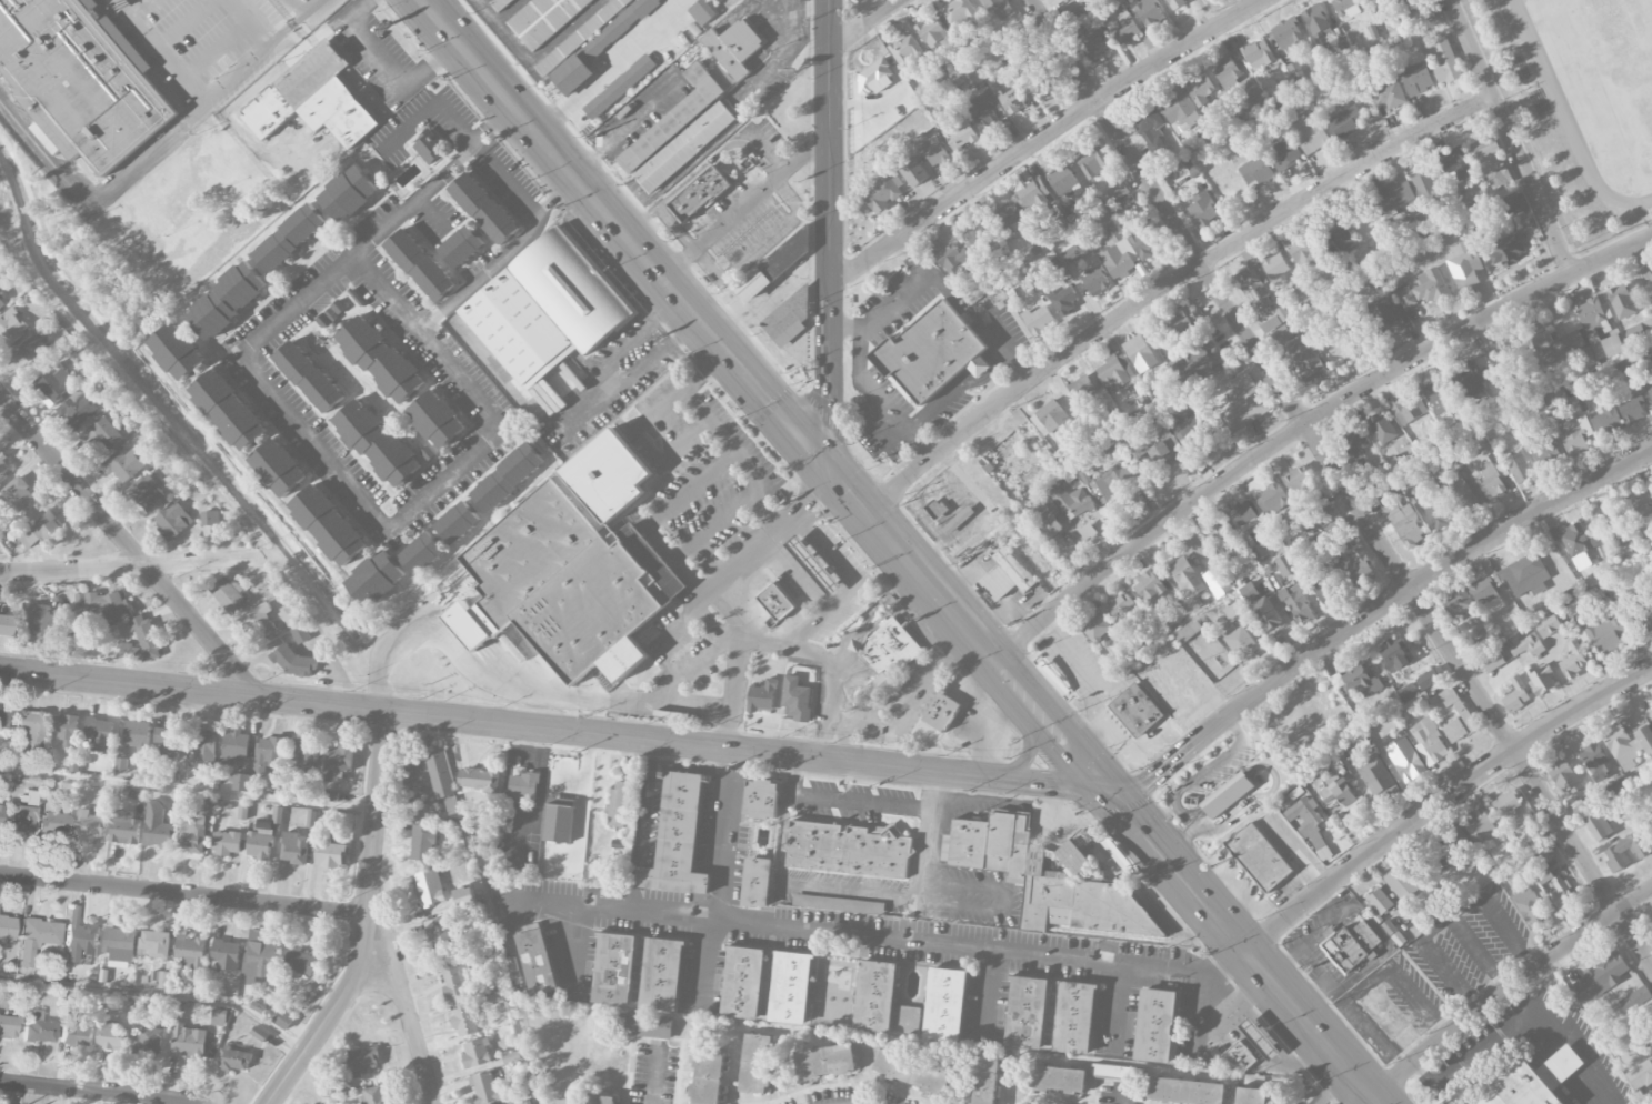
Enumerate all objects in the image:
building: (1368, 0)
building: (498, 3)
building: (1177, 3)
road: (310, 6)
building: (1345, 8)
building: (998, 9)
building: (701, 12)
building: (1148, 12)
building: (959, 13)
building: (1422, 13)
building: (1071, 14)
building: (542, 18)
road: (253, 19)
road: (288, 24)
road: (864, 24)
building: (1318, 24)
building: (1124, 26)
building: (1288, 34)
building: (934, 36)
building: (590, 42)
building: (1094, 46)
building: (738, 49)
building: (907, 52)
building: (1258, 56)
building: (1443, 60)
road: (387, 68)
building: (1225, 73)
building: (81, 79)
building: (1042, 79)
building: (1416, 79)
building: (972, 80)
road: (190, 83)
building: (619, 87)
building: (1201, 89)
building: (1254, 96)
building: (1389, 96)
building: (313, 99)
building: (1011, 101)
building: (1225, 104)
road: (429, 108)
building: (984, 111)
building: (1179, 112)
building: (1346, 122)
road: (485, 128)
road: (623, 128)
building: (1151, 130)
building: (679, 132)
building: (960, 133)
building: (1310, 134)
road: (539, 137)
road: (1042, 137)
road: (1512, 137)
road: (479, 144)
building: (429, 147)
building: (930, 150)
building: (1285, 154)
building: (1091, 160)
building: (1490, 162)
building: (1456, 167)
building: (1255, 171)
building: (914, 173)
building: (1062, 180)
road: (510, 182)
road: (563, 190)
building: (1429, 190)
building: (1118, 191)
building: (348, 193)
building: (699, 193)
building: (883, 193)
building: (1033, 195)
building: (1394, 195)
road: (411, 204)
road: (743, 204)
building: (1514, 205)
building: (483, 208)
road: (540, 209)
building: (1202, 211)
building: (1008, 220)
building: (1458, 229)
building: (979, 232)
road: (828, 237)
building: (289, 238)
building: (1336, 238)
building: (1141, 243)
building: (461, 247)
building: (1509, 249)
building: (1115, 252)
building: (1301, 252)
building: (1070, 255)
road: (1645, 255)
building: (954, 261)
building: (419, 263)
building: (1463, 264)
building: (774, 265)
building: (1275, 267)
road: (479, 278)
building: (1095, 282)
road: (1165, 284)
road: (670, 287)
building: (1254, 290)
building: (1424, 290)
building: (1302, 292)
road: (773, 297)
building: (226, 300)
building: (1064, 300)
building: (1621, 301)
building: (1, 303)
building: (548, 308)
road: (963, 310)
road: (690, 311)
road: (667, 312)
building: (1383, 317)
building: (789, 318)
building: (1039, 320)
building: (1180, 324)
building: (1270, 324)
building: (10, 329)
road: (845, 329)
building: (1589, 330)
building: (1638, 330)
building: (461, 331)
road: (709, 332)
building: (1282, 334)
road: (681, 338)
building: (1553, 343)
road: (627, 348)
road: (723, 349)
building: (177, 351)
building: (931, 352)
building: (32, 353)
building: (1140, 354)
building: (1503, 354)
building: (379, 359)
building: (1304, 359)
building: (1199, 363)
road: (707, 371)
building: (1115, 372)
building: (308, 375)
park: (800, 375)
building: (973, 379)
building: (1470, 379)
building: (52, 385)
building: (1081, 388)
road: (594, 392)
building: (1649, 393)
building: (1439, 397)
building: (1555, 398)
road: (880, 403)
building: (1242, 405)
building: (1408, 409)
building: (1632, 409)
building: (77, 410)
building: (229, 411)
road: (780, 414)
building: (1051, 416)
building: (435, 419)
road: (1306, 424)
building: (1600, 425)
building: (1381, 429)
building: (1191, 432)
building: (1573, 433)
building: (102, 434)
road: (561, 434)
building: (377, 442)
road: (643, 448)
building: (1353, 448)
building: (1546, 453)
building: (1161, 455)
building: (124, 465)
building: (3, 466)
building: (278, 468)
building: (1518, 468)
building: (1486, 473)
traffic signals: (832, 474)
building: (1368, 475)
building: (508, 478)
road: (1342, 481)
building: (1115, 482)
building: (1300, 484)
road: (755, 490)
road: (690, 491)
building: (147, 493)
building: (19, 494)
building: (1268, 496)
building: (1463, 496)
building: (1641, 508)
building: (1063, 509)
building: (1244, 515)
building: (1328, 515)
building: (1439, 515)
building: (209, 519)
building: (172, 521)
road: (717, 521)
building: (957, 521)
building: (458, 522)
road: (384, 523)
building: (1404, 523)
building: (328, 525)
building: (1334, 528)
building: (42, 532)
building: (1223, 541)
building: (1575, 543)
road: (131, 550)
building: (422, 553)
road: (140, 565)
building: (567, 565)
building: (813, 565)
gas station: (813, 565)
building: (1284, 565)
building: (1356, 568)
road: (794, 575)
building: (1007, 575)
building: (376, 579)
building: (1188, 582)
building: (1217, 582)
building: (1511, 582)
road: (849, 586)
road: (900, 588)
building: (1149, 588)
building: (1326, 590)
road: (711, 592)
building: (229, 595)
road: (908, 598)
building: (775, 602)
building: (104, 604)
building: (1296, 604)
building: (1458, 604)
building: (1123, 609)
building: (1233, 611)
building: (1265, 614)
road: (1371, 614)
building: (1644, 618)
building: (38, 620)
building: (258, 623)
building: (4, 624)
building: (1549, 626)
building: (1097, 628)
road: (967, 630)
road: (853, 631)
building: (1188, 632)
building: (300, 634)
building: (1603, 634)
road: (858, 641)
building: (142, 642)
building: (1241, 644)
building: (1526, 646)
road: (951, 648)
building: (887, 655)
road: (811, 658)
building: (1395, 658)
building: (1492, 661)
building: (1573, 661)
road: (663, 662)
building: (1430, 678)
building: (1541, 680)
building: (1356, 683)
road: (513, 685)
road: (670, 690)
building: (762, 695)
building: (1516, 696)
building: (797, 700)
building: (1135, 711)
building: (941, 712)
building: (1462, 713)
building: (3, 717)
road: (897, 720)
building: (31, 726)
building: (1388, 726)
road: (551, 732)
building: (64, 733)
building: (100, 734)
building: (137, 734)
road: (830, 740)
building: (170, 741)
building: (1429, 742)
building: (1626, 743)
building: (202, 746)
building: (234, 747)
building: (268, 754)
road: (1028, 754)
building: (306, 756)
building: (1595, 762)
building: (338, 763)
building: (1410, 766)
building: (440, 774)
building: (1374, 774)
road: (791, 775)
building: (1565, 779)
building: (479, 780)
building: (241, 782)
traffic signals: (1104, 784)
building: (523, 786)
building: (1336, 787)
road: (935, 791)
building: (328, 796)
road: (979, 797)
building: (1229, 797)
building: (762, 799)
road: (1440, 800)
road: (861, 801)
building: (451, 805)
building: (618, 805)
building: (1506, 806)
building: (208, 807)
road: (377, 811)
building: (0, 813)
road: (376, 814)
building: (22, 815)
building: (54, 824)
building: (558, 824)
building: (88, 825)
building: (1309, 825)
building: (157, 826)
building: (1480, 826)
building: (1598, 826)
building: (124, 827)
road: (640, 827)
building: (190, 835)
building: (678, 839)
building: (226, 843)
building: (422, 843)
building: (259, 844)
building: (294, 849)
building: (328, 850)
building: (848, 850)
building: (1454, 851)
building: (1625, 852)
building: (1259, 857)
building: (1019, 863)
building: (1541, 863)
road: (1173, 869)
building: (1520, 871)
building: (757, 881)
building: (1400, 883)
building: (429, 887)
road: (183, 894)
building: (1561, 894)
building: (464, 896)
road: (934, 900)
building: (1418, 901)
building: (818, 902)
building: (1379, 902)
road: (1469, 905)
building: (862, 906)
building: (1532, 910)
road: (698, 920)
road: (1439, 926)
building: (7, 930)
road: (1512, 930)
road: (364, 934)
building: (80, 936)
building: (37, 939)
building: (439, 939)
road: (918, 942)
building: (154, 944)
building: (1352, 945)
building: (120, 946)
building: (190, 952)
road: (1480, 952)
building: (226, 955)
building: (259, 959)
building: (538, 962)
building: (300, 963)
road: (710, 963)
road: (1187, 967)
building: (614, 970)
road: (1382, 974)
road: (1450, 974)
building: (662, 975)
building: (1601, 977)
building: (457, 981)
building: (742, 982)
building: (791, 987)
road: (1505, 988)
road: (188, 996)
building: (875, 996)
building: (1635, 998)
building: (945, 1004)
road: (1117, 1006)
building: (1027, 1013)
building: (1074, 1017)
building: (219, 1018)
building: (283, 1020)
road: (411, 1021)
building: (465, 1021)
building: (908, 1021)
building: (1155, 1025)
building: (8, 1026)
building: (644, 1026)
road: (1309, 1027)
building: (39, 1028)
road: (320, 1030)
building: (76, 1031)
road: (1570, 1034)
building: (111, 1038)
building: (1260, 1040)
gas station: (1260, 1040)
building: (147, 1042)
building: (188, 1042)
building: (1651, 1043)
building: (477, 1054)
road: (1471, 1054)
building: (234, 1060)
building: (1240, 1060)
building: (361, 1062)
building: (825, 1062)
building: (757, 1063)
building: (1117, 1072)
building: (912, 1073)
road: (657, 1075)
building: (707, 1075)
building: (1641, 1075)
building: (985, 1078)
building: (1058, 1080)
building: (1532, 1082)
building: (484, 1088)
road: (98, 1092)
building: (1184, 1092)
building: (373, 1096)
road: (1119, 1096)
building: (1251, 1096)
building: (602, 1098)
road: (1355, 1101)

